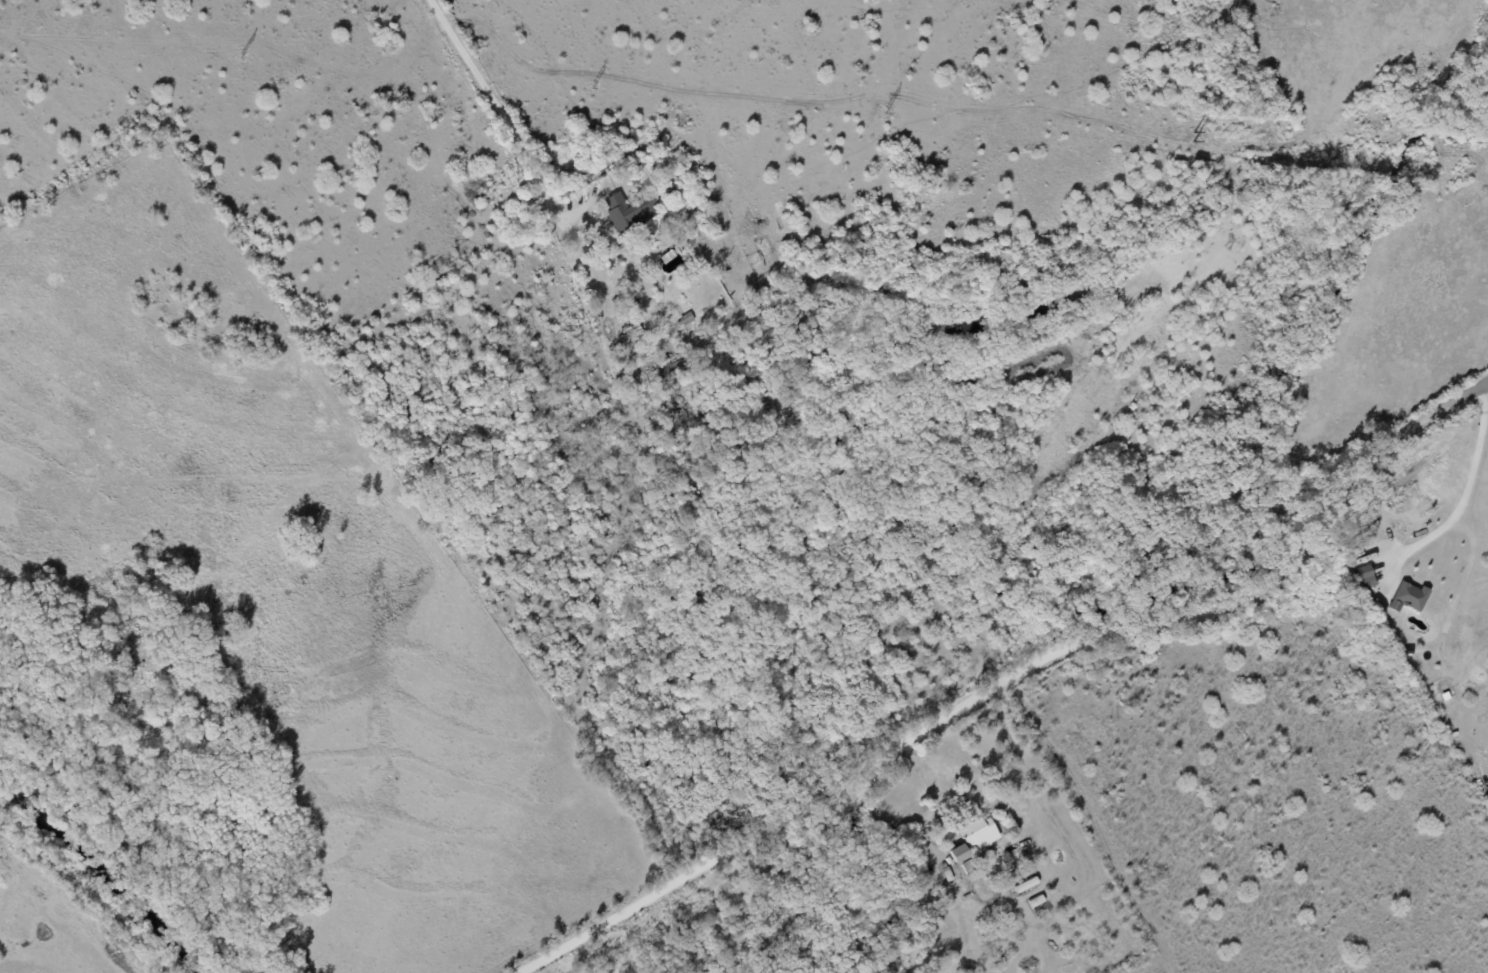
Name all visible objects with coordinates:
power tower: (244, 57)
power tower: (594, 88)
road: (508, 110)
power tower: (890, 113)
power tower: (1200, 138)
building: (629, 209)
road: (1464, 493)
building: (1366, 576)
building: (1408, 596)
road: (1008, 679)
road: (924, 783)
building: (979, 833)
building: (958, 853)

